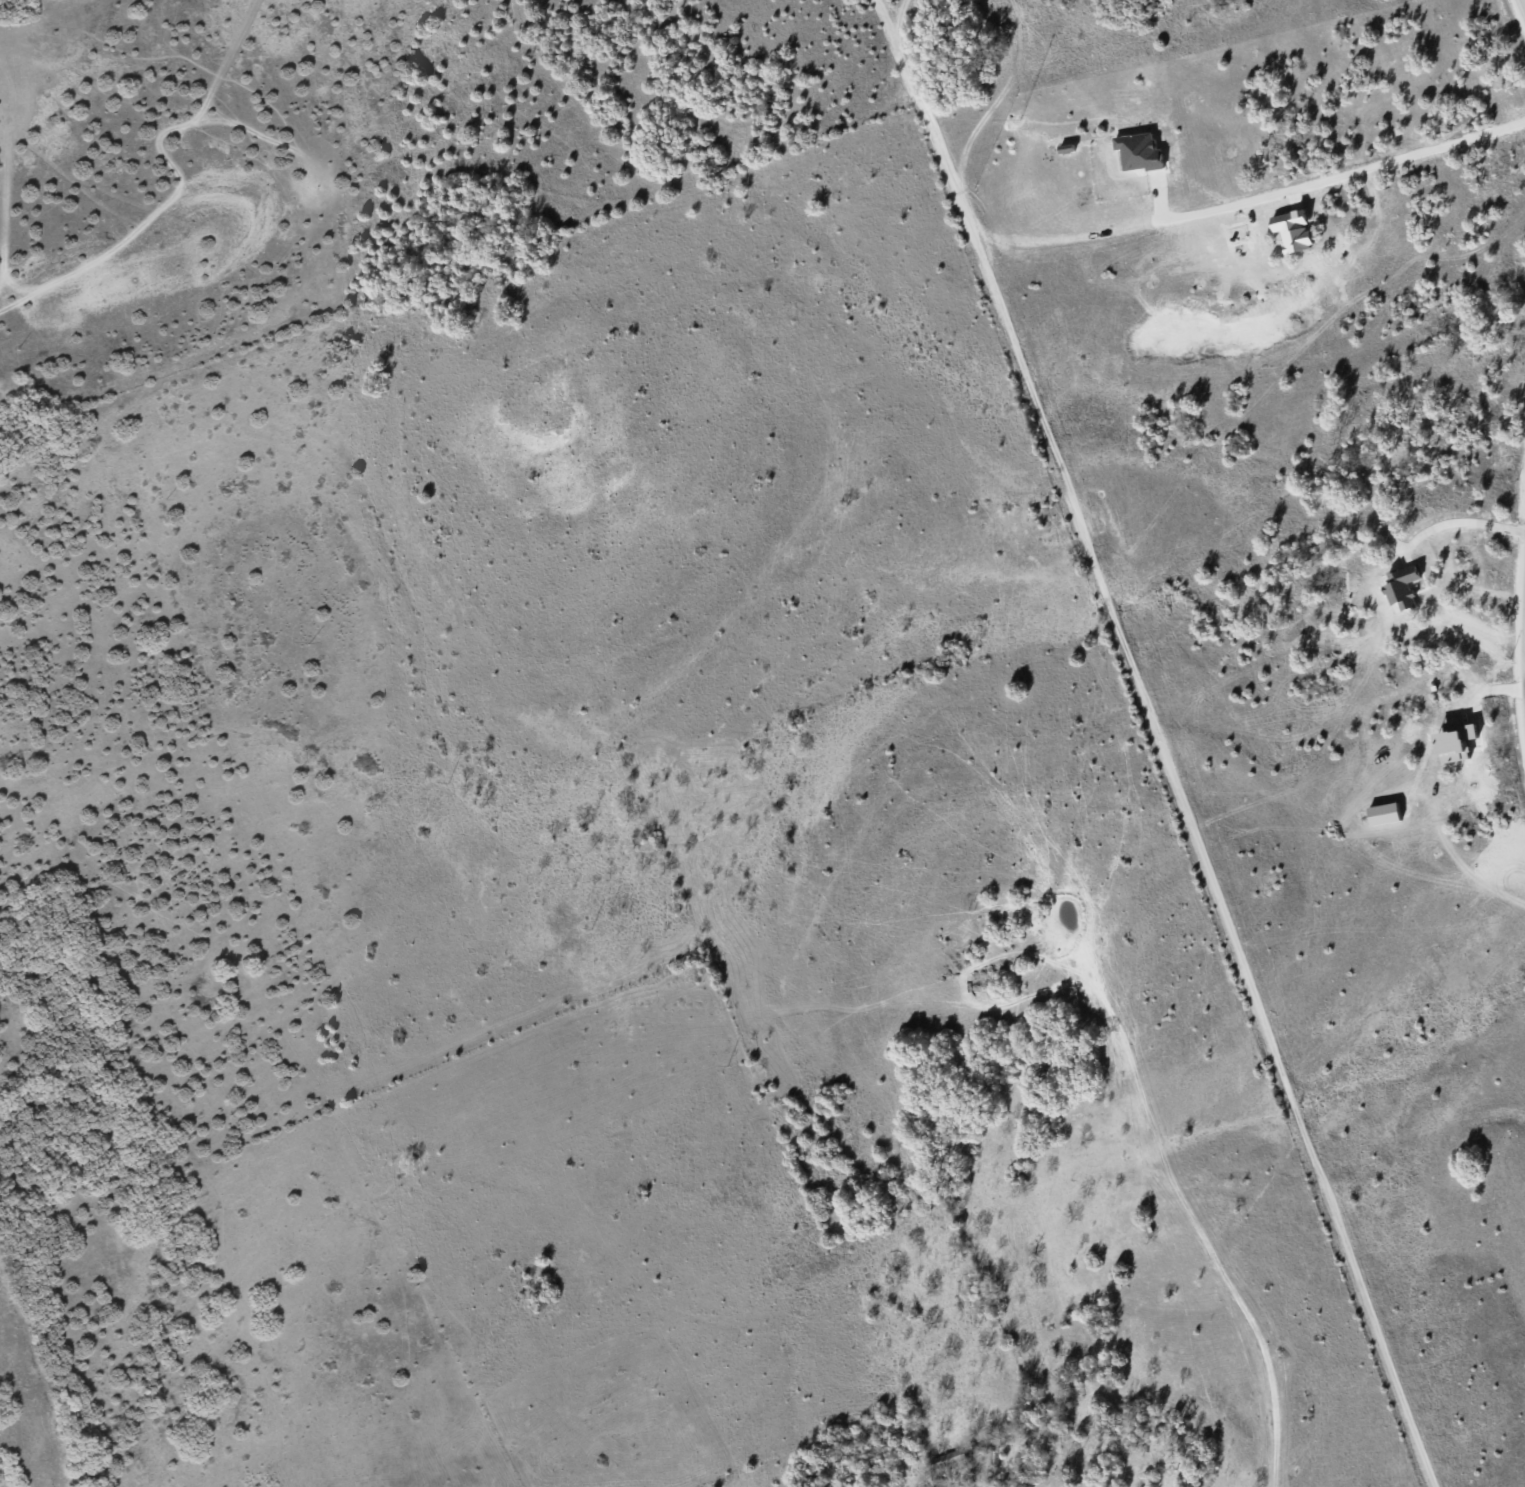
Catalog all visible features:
road: (1522, 5)
building: (1138, 153)
road: (1359, 166)
road: (1523, 684)
road: (1158, 746)
road: (977, 1484)

